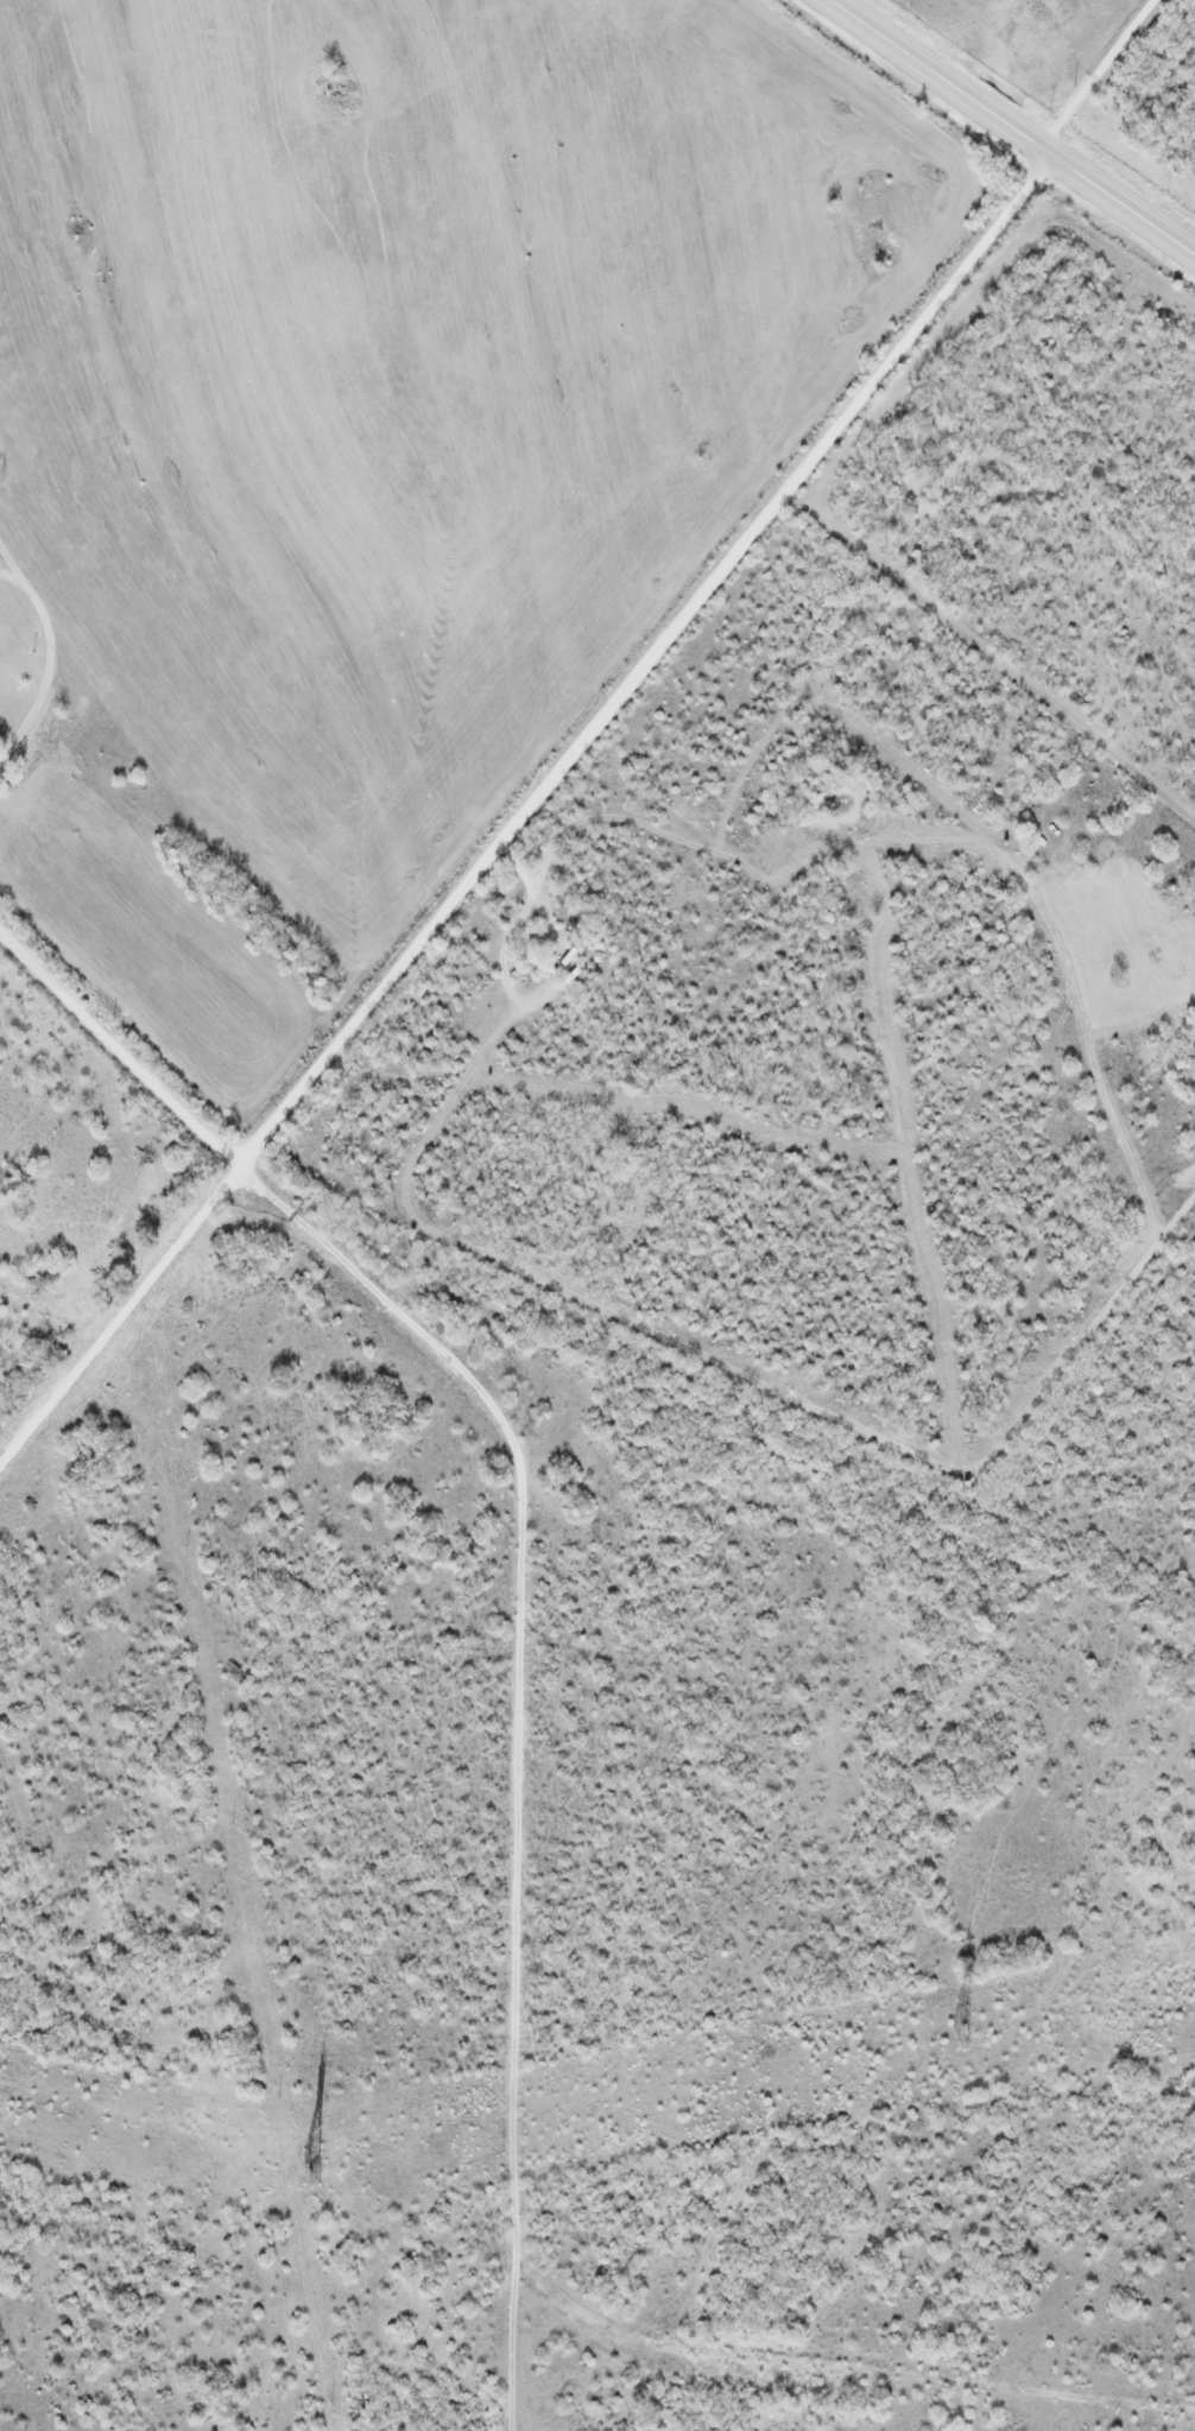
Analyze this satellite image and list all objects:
road: (1012, 124)
road: (527, 812)
power tower: (960, 2038)
power tower: (314, 2171)
building: (312, 2174)

